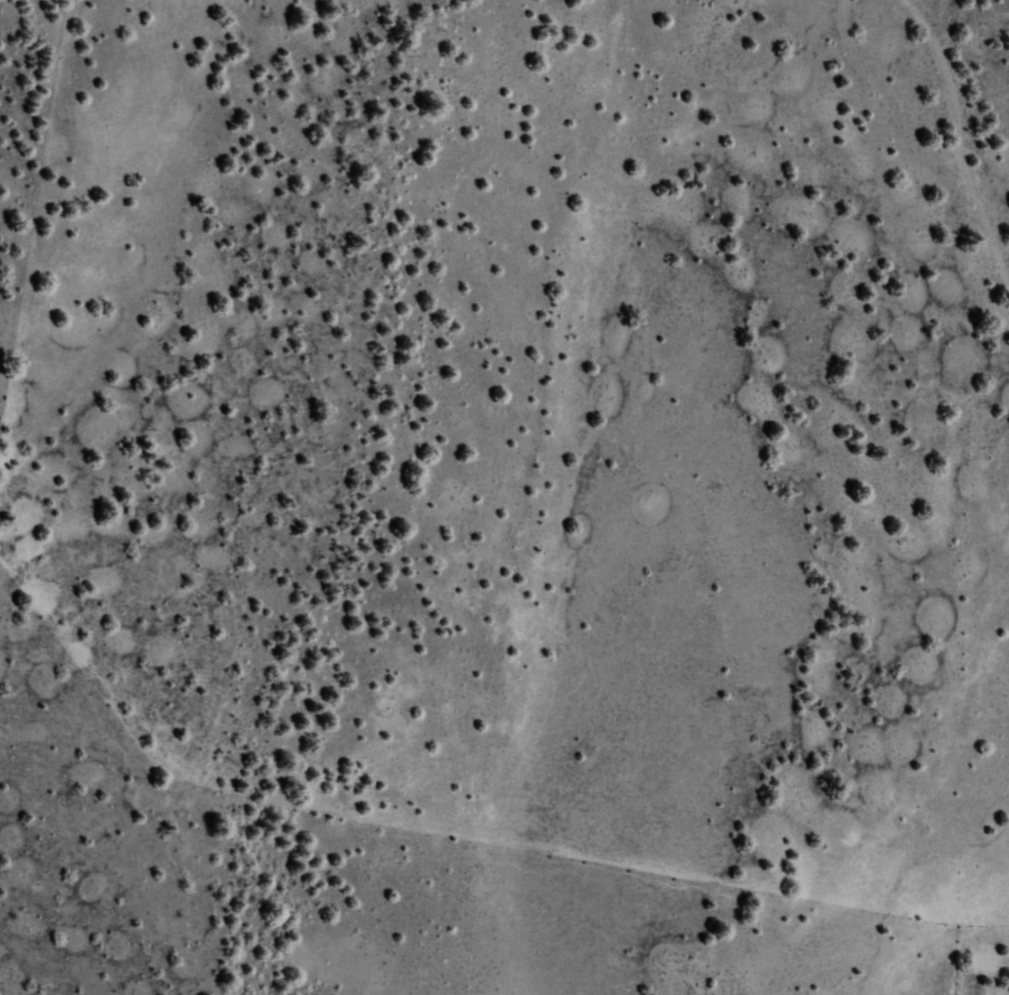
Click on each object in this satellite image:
road: (963, 135)

